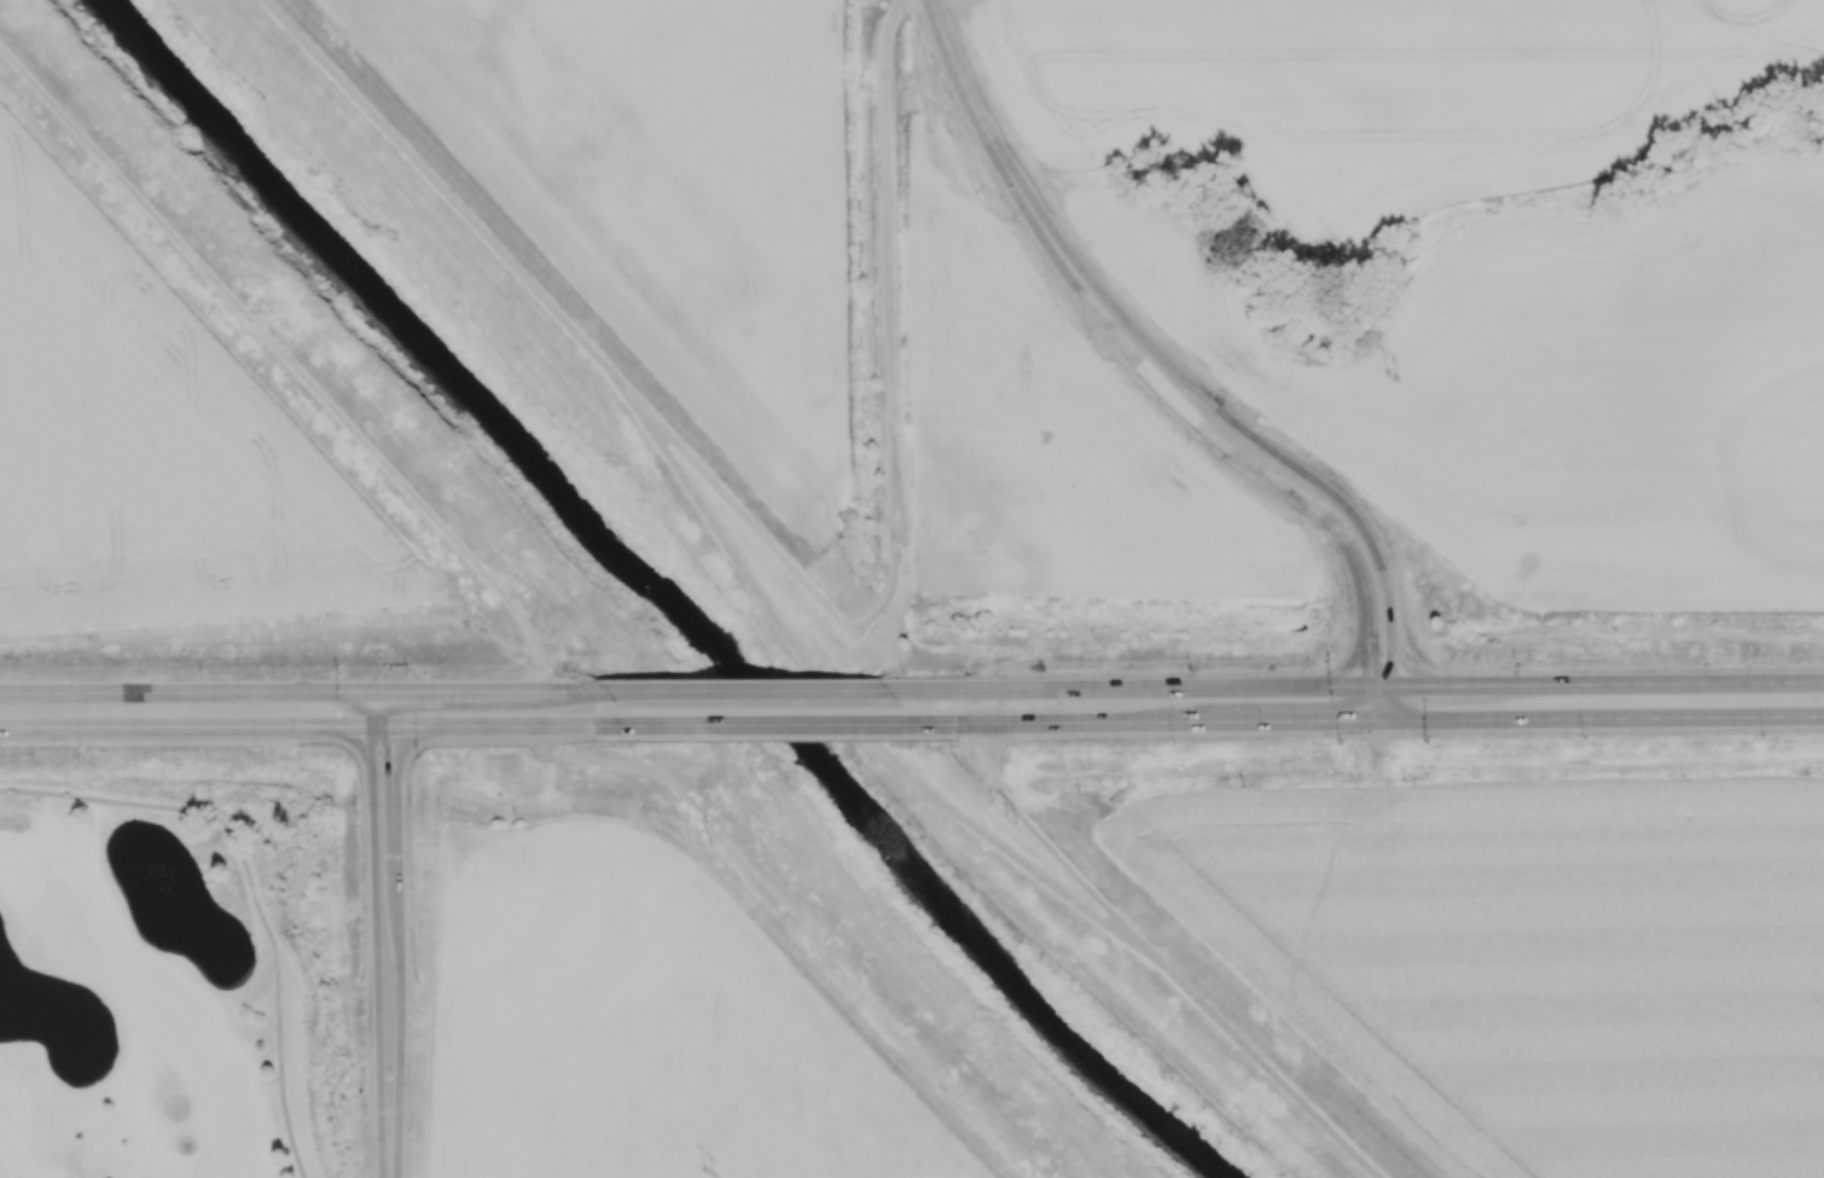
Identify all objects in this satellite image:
road: (984, 130)
road: (452, 201)
road: (887, 262)
power tower: (1396, 378)
crop: (1048, 436)
road: (1283, 458)
road: (1256, 472)
road: (782, 555)
river: (656, 600)
road: (1608, 684)
traffic signals: (1369, 685)
traffic signals: (1393, 685)
road: (1144, 687)
road: (745, 690)
road: (297, 691)
traffic signals: (384, 691)
road: (1602, 716)
traffic signals: (1382, 720)
road: (1152, 721)
road: (856, 724)
road: (774, 725)
road: (312, 727)
traffic signals: (371, 727)
traffic signals: (393, 727)
road: (364, 739)
road: (168, 743)
power tower: (1012, 823)
road: (1057, 853)
road: (251, 887)
road: (803, 924)
road: (374, 933)
road: (399, 934)
crop: (1540, 958)
park: (178, 979)
crop: (647, 1026)
road: (1271, 1070)
power tower: (710, 1164)

